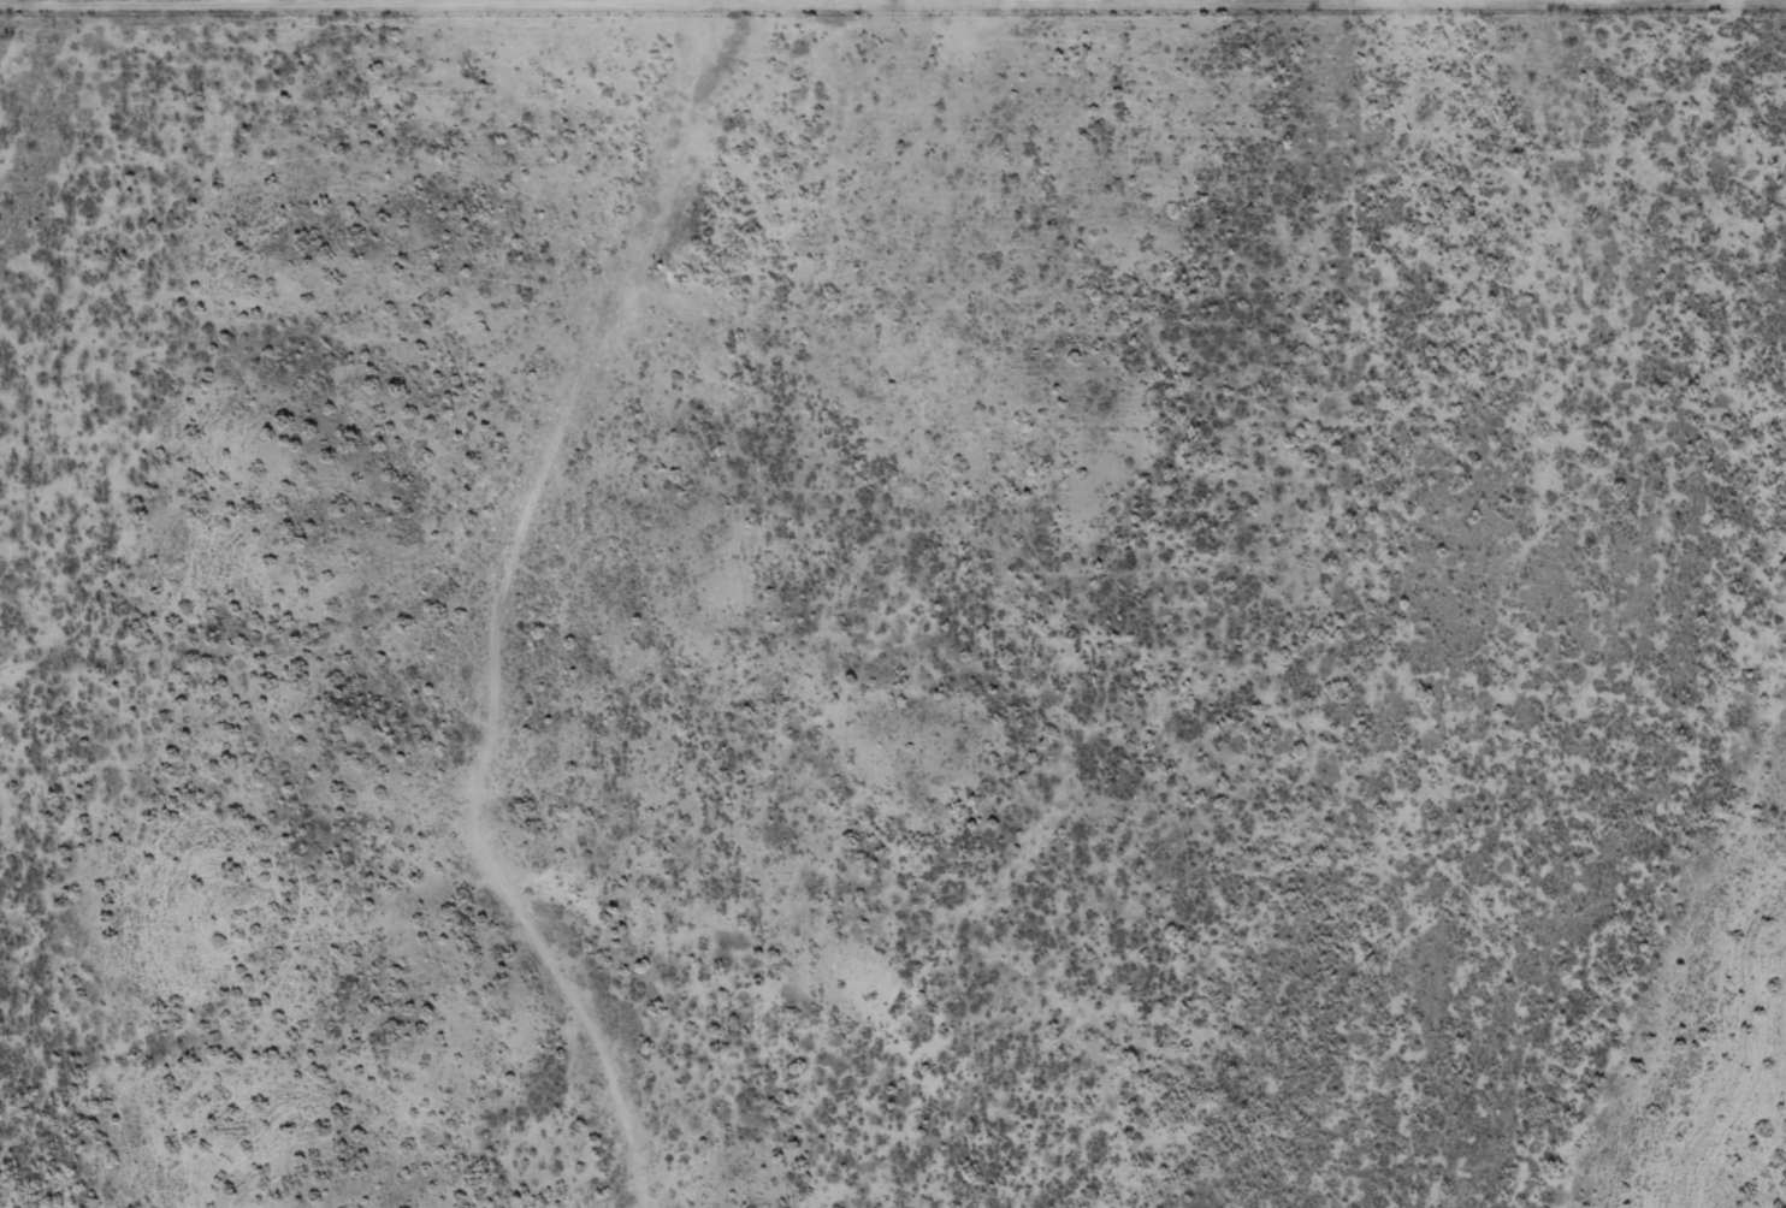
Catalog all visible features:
road: (276, 10)

